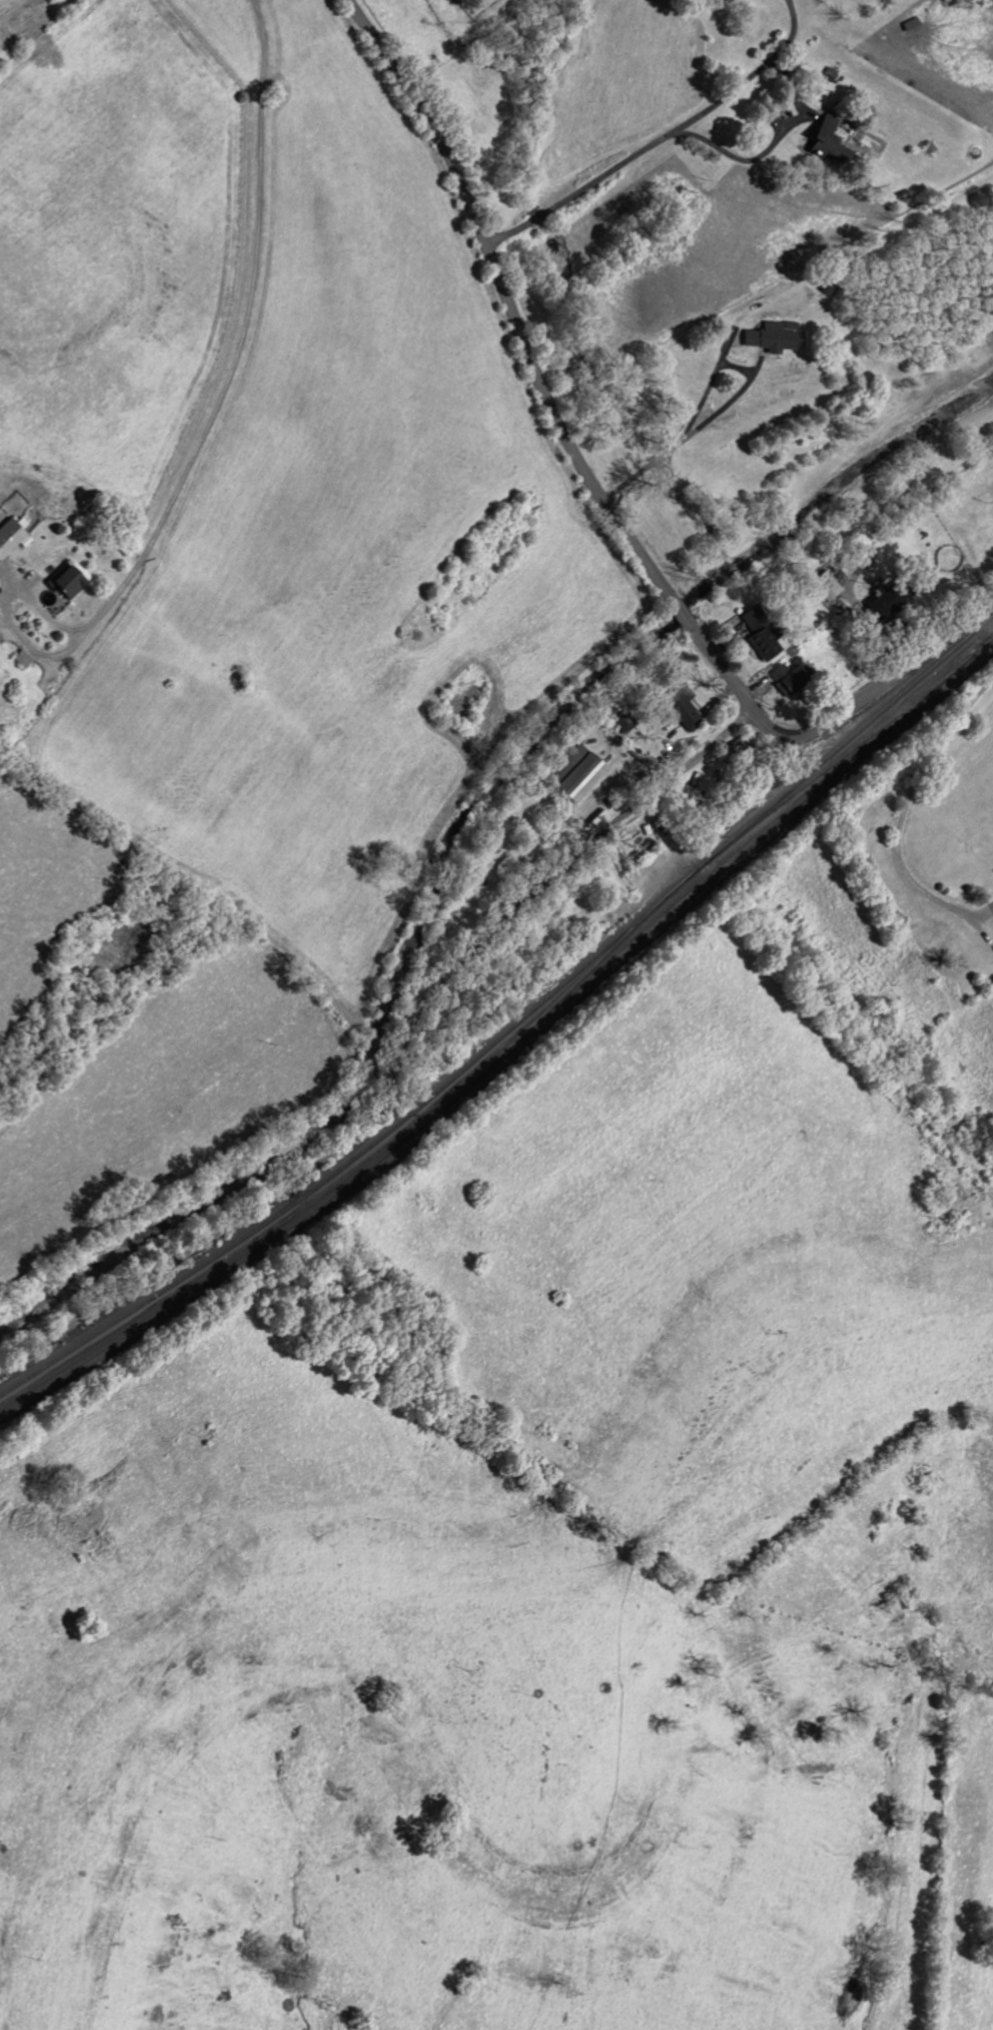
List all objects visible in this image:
road: (661, 139)
building: (831, 143)
road: (744, 163)
building: (774, 337)
road: (227, 375)
road: (723, 404)
road: (597, 489)
building: (13, 537)
building: (68, 582)
building: (888, 602)
building: (762, 634)
building: (791, 680)
building: (684, 708)
building: (568, 764)
building: (582, 779)
road: (897, 821)
railway: (512, 1026)
railway: (512, 1046)
road: (398, 1067)

